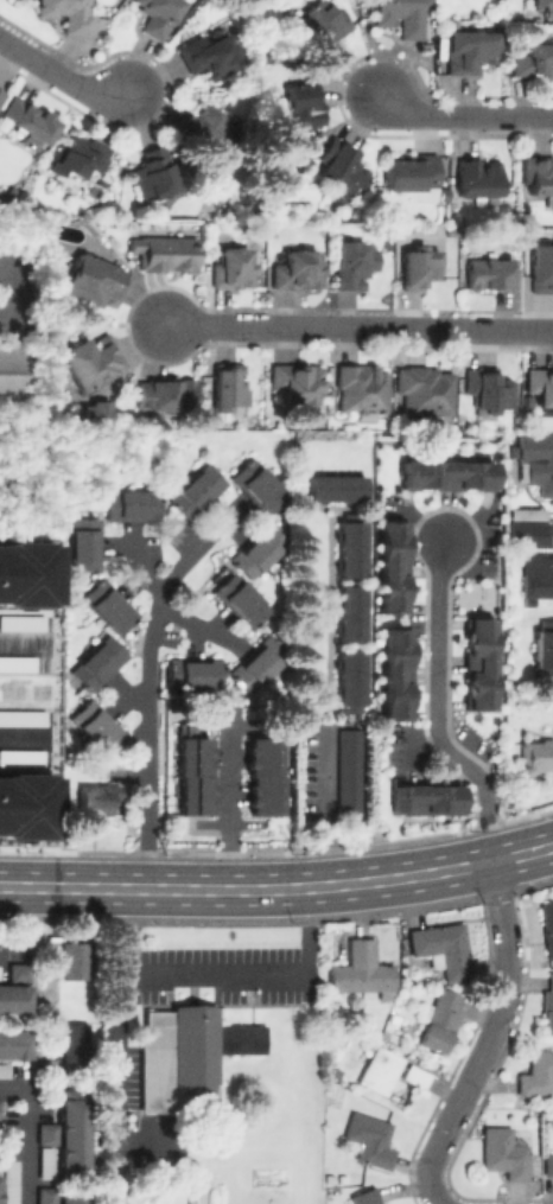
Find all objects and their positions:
building: (544, 7)
building: (70, 14)
building: (158, 17)
building: (399, 17)
building: (322, 30)
building: (469, 52)
building: (209, 56)
building: (535, 62)
street lamp: (72, 69)
road: (59, 75)
building: (1, 96)
building: (301, 107)
road: (464, 114)
street lamp: (148, 120)
building: (30, 122)
building: (204, 128)
building: (77, 159)
building: (343, 167)
building: (153, 174)
building: (412, 176)
building: (477, 178)
building: (538, 178)
building: (9, 196)
building: (163, 253)
building: (355, 263)
building: (236, 268)
building: (419, 268)
building: (541, 268)
building: (298, 270)
building: (490, 276)
building: (91, 281)
road: (356, 327)
building: (89, 361)
building: (13, 378)
building: (297, 382)
building: (228, 389)
building: (540, 389)
building: (425, 390)
building: (489, 390)
building: (362, 393)
building: (166, 395)
building: (95, 414)
building: (535, 460)
building: (446, 476)
building: (255, 486)
building: (333, 489)
building: (195, 490)
building: (129, 504)
building: (527, 510)
building: (528, 534)
building: (81, 543)
building: (349, 548)
building: (255, 550)
road: (136, 565)
building: (389, 567)
building: (538, 573)
building: (26, 575)
building: (239, 601)
building: (107, 606)
building: (349, 612)
road: (197, 626)
building: (544, 648)
road: (23, 650)
building: (96, 662)
building: (254, 663)
building: (477, 663)
building: (191, 673)
building: (393, 674)
building: (349, 676)
road: (147, 677)
road: (436, 708)
building: (95, 726)
road: (21, 741)
building: (280, 756)
building: (535, 757)
building: (348, 771)
building: (191, 775)
building: (261, 775)
building: (422, 798)
building: (96, 800)
building: (25, 808)
road: (225, 811)
road: (320, 813)
road: (278, 888)
building: (547, 925)
building: (443, 950)
road: (12, 953)
building: (74, 958)
road: (47, 969)
building: (361, 969)
building: (17, 972)
road: (216, 974)
building: (14, 1000)
building: (548, 1006)
building: (438, 1020)
road: (491, 1039)
building: (75, 1041)
building: (332, 1041)
building: (13, 1044)
building: (187, 1057)
building: (390, 1071)
building: (4, 1074)
building: (538, 1075)
road: (116, 1083)
road: (26, 1135)
building: (66, 1135)
building: (370, 1138)
building: (504, 1151)
building: (548, 1162)
building: (44, 1165)
building: (9, 1180)
building: (367, 1196)
building: (56, 1197)

